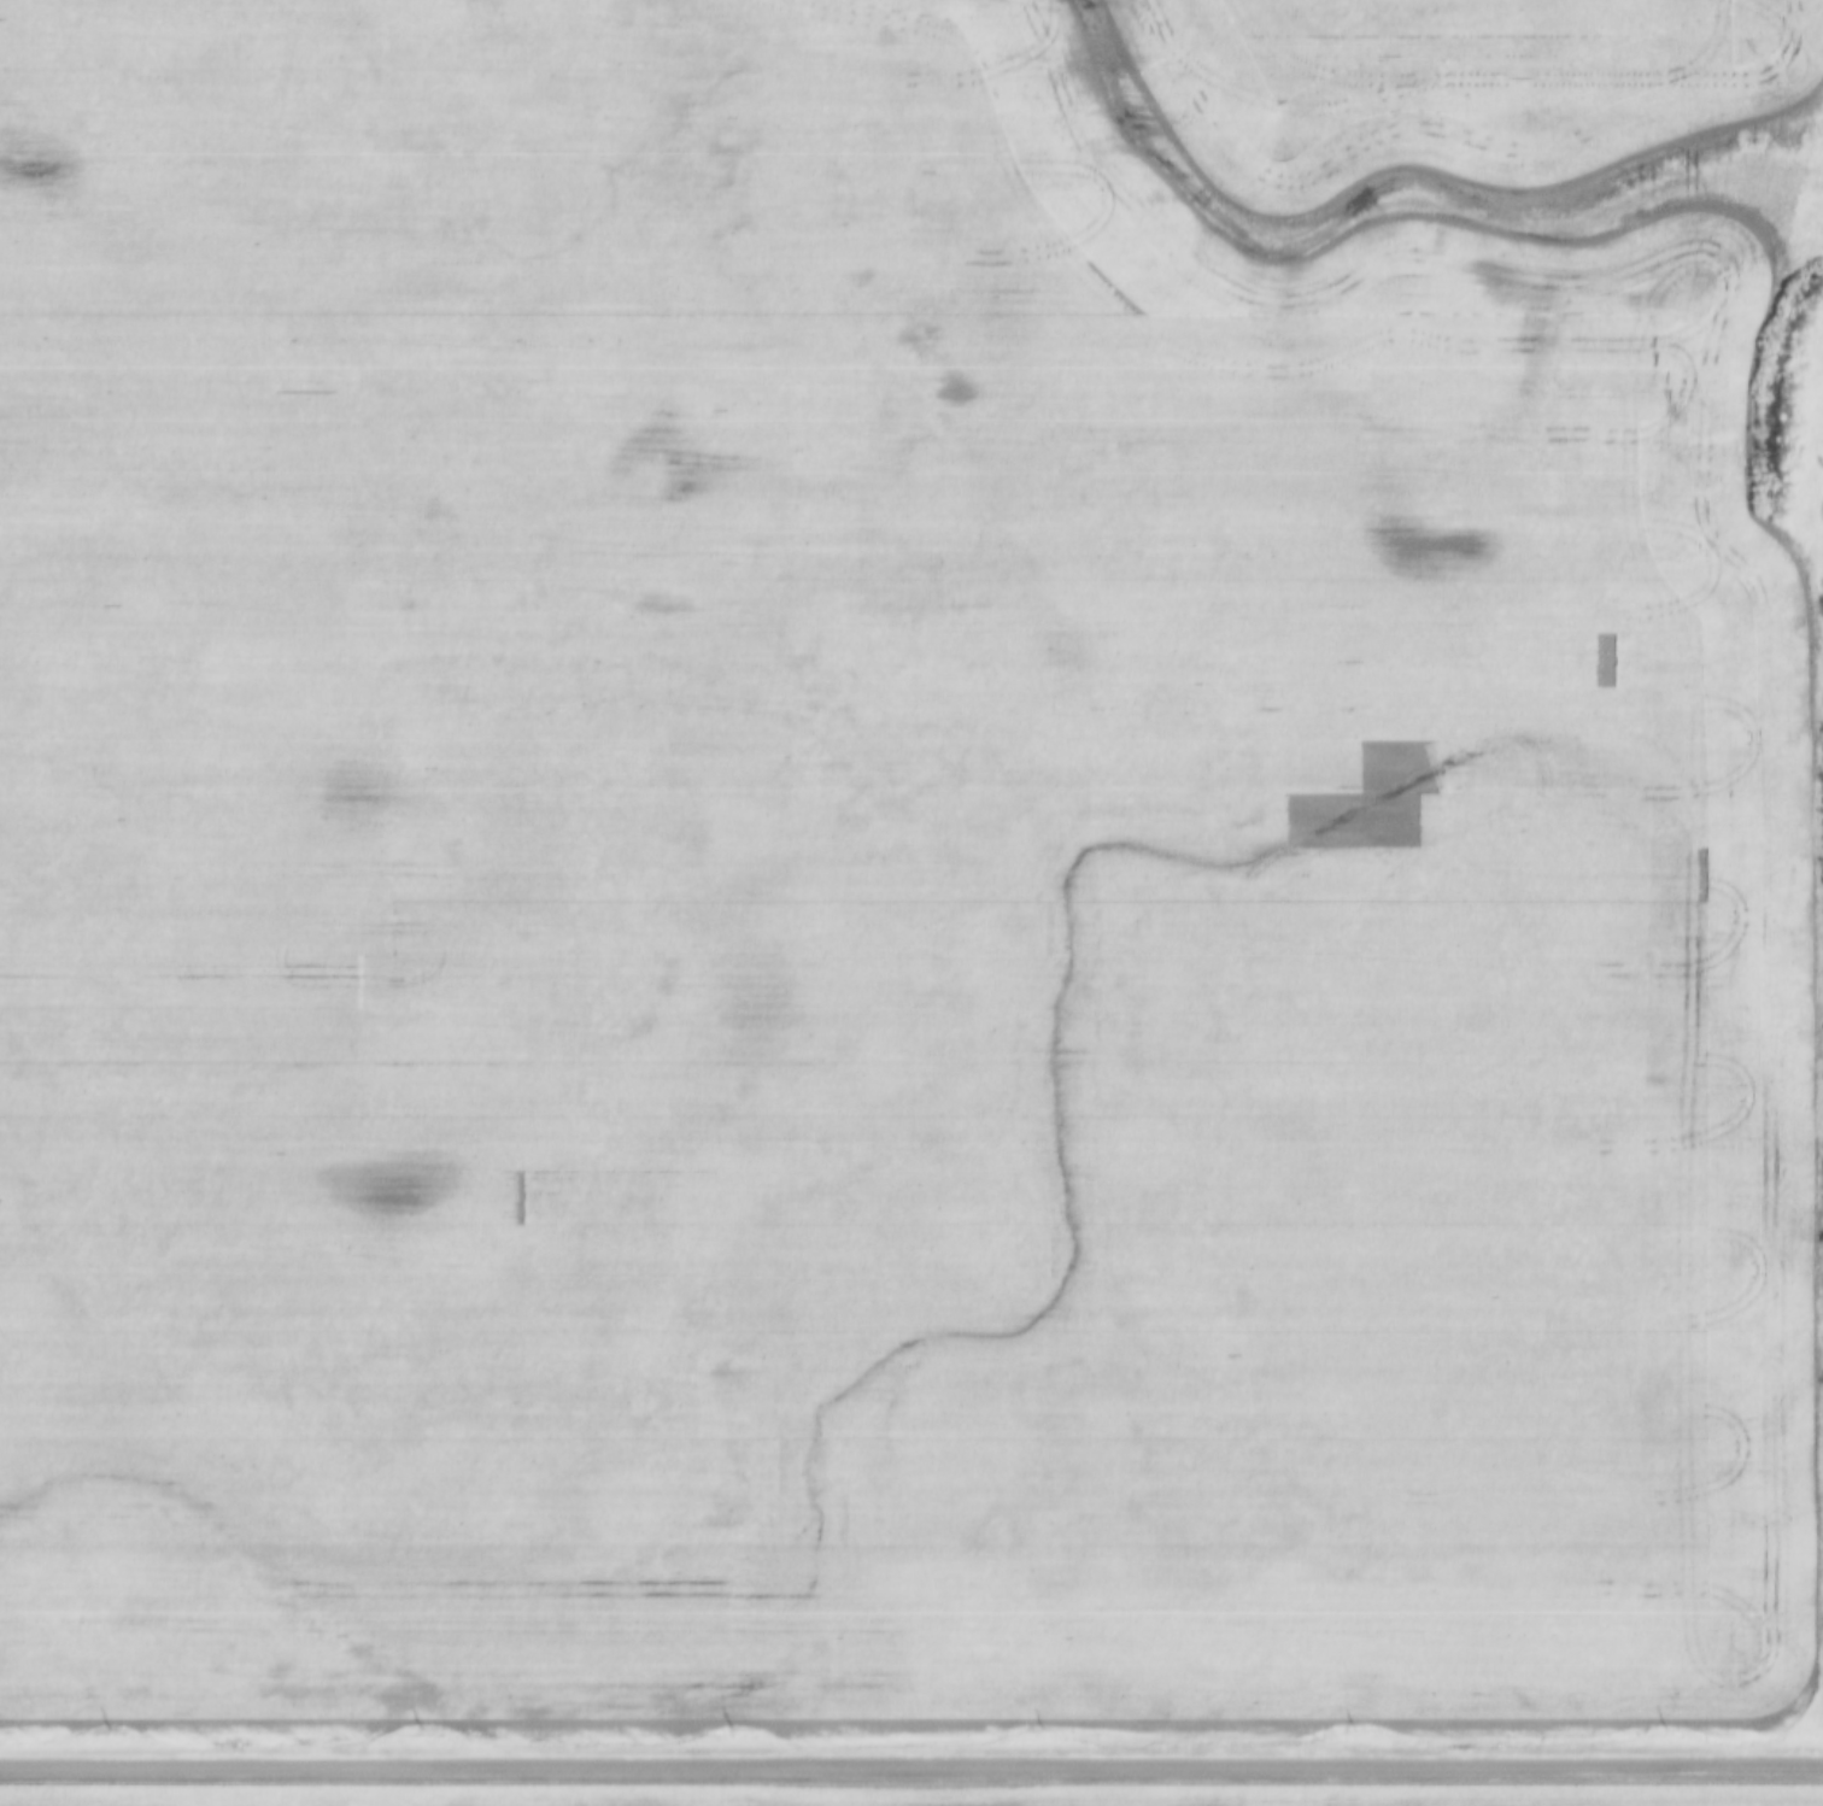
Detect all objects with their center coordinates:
road: (911, 1766)

